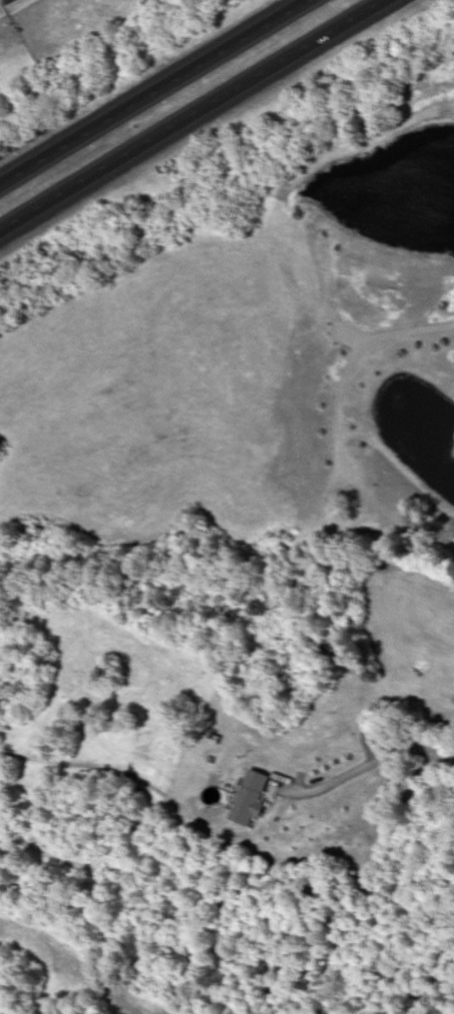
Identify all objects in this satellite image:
road: (8, 0)
road: (155, 94)
road: (193, 116)
road: (362, 770)

